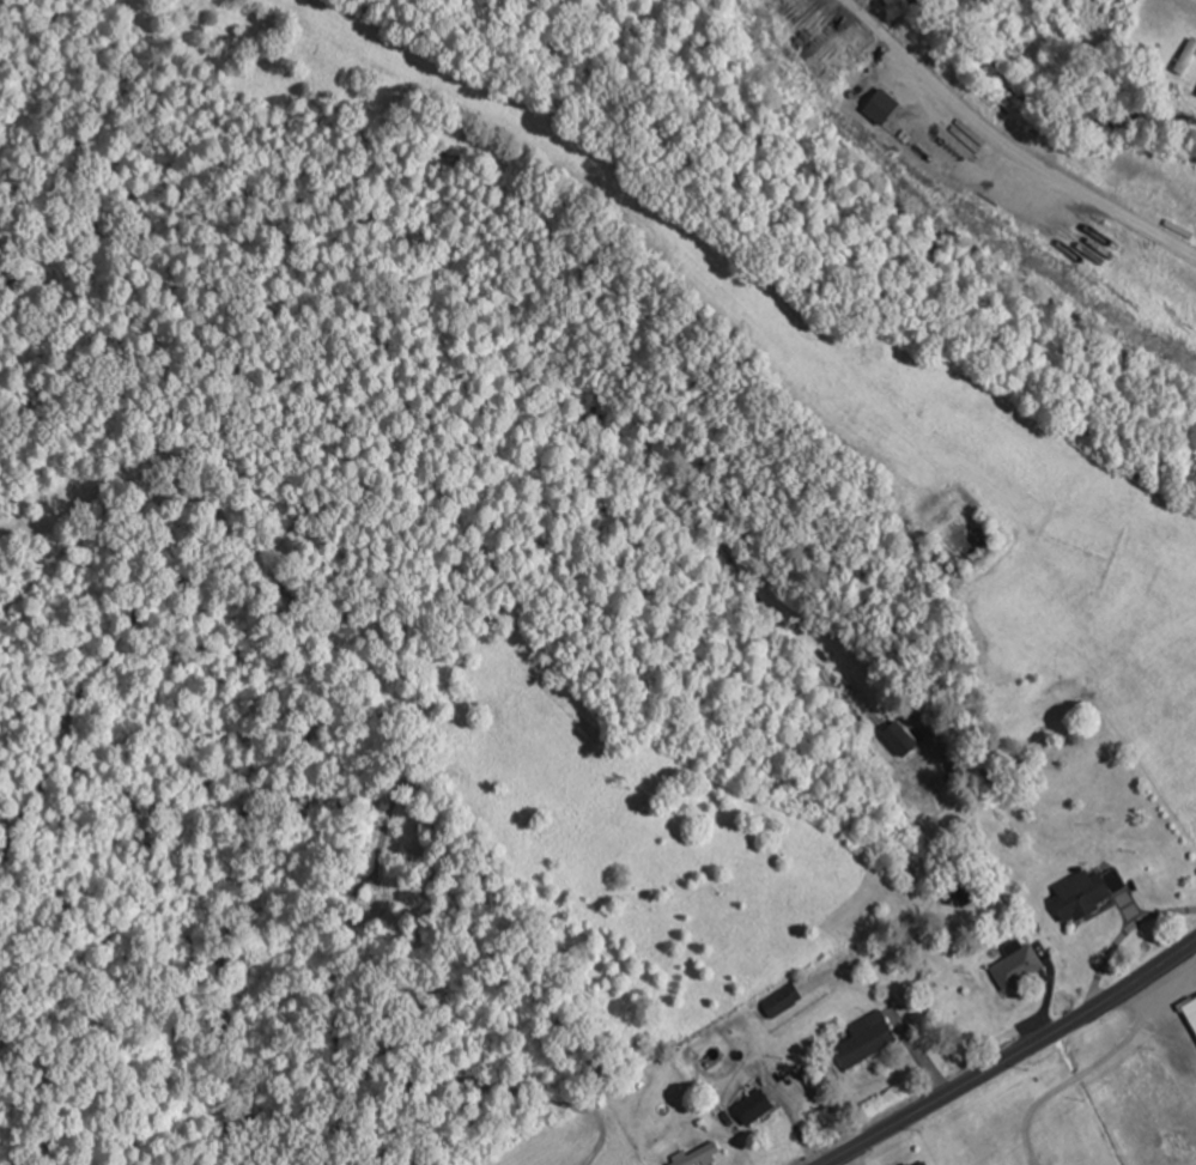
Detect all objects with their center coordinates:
building: (1189, 54)
building: (882, 107)
building: (901, 738)
building: (1089, 891)
building: (966, 893)
building: (1019, 963)
building: (785, 999)
building: (1191, 1009)
building: (869, 1037)
road: (1010, 1056)
building: (757, 1104)
building: (700, 1154)
building: (922, 1161)

